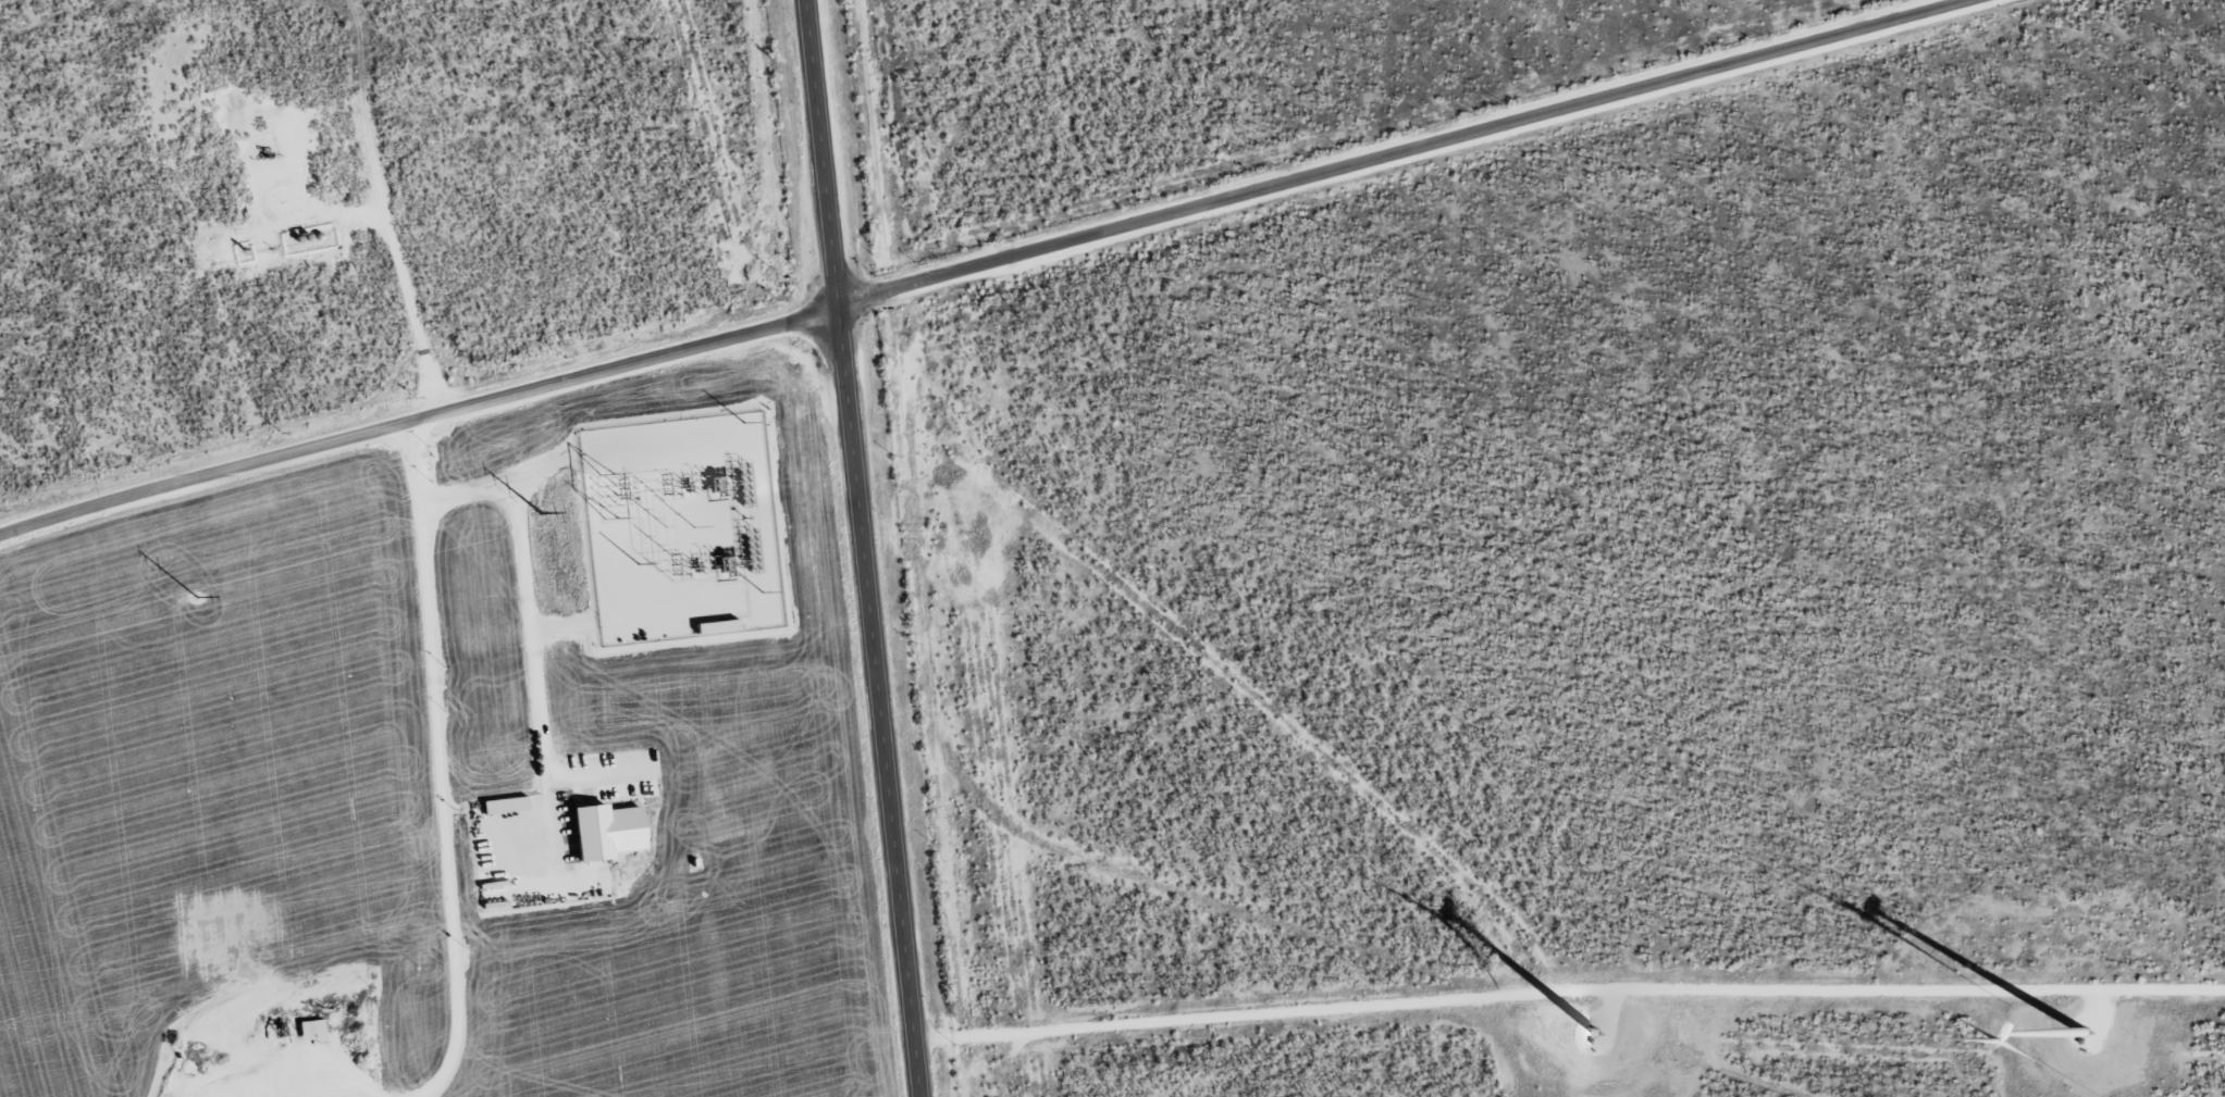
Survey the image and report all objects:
road: (987, 134)
road: (1402, 150)
road: (418, 419)
power tower: (539, 510)
power substation: (676, 533)
road: (864, 548)
power tower: (191, 597)
road: (531, 641)
road: (435, 764)
building: (499, 811)
building: (603, 831)
building: (310, 1030)
wind turbine: (2081, 1032)
wind turbine: (1593, 1036)

